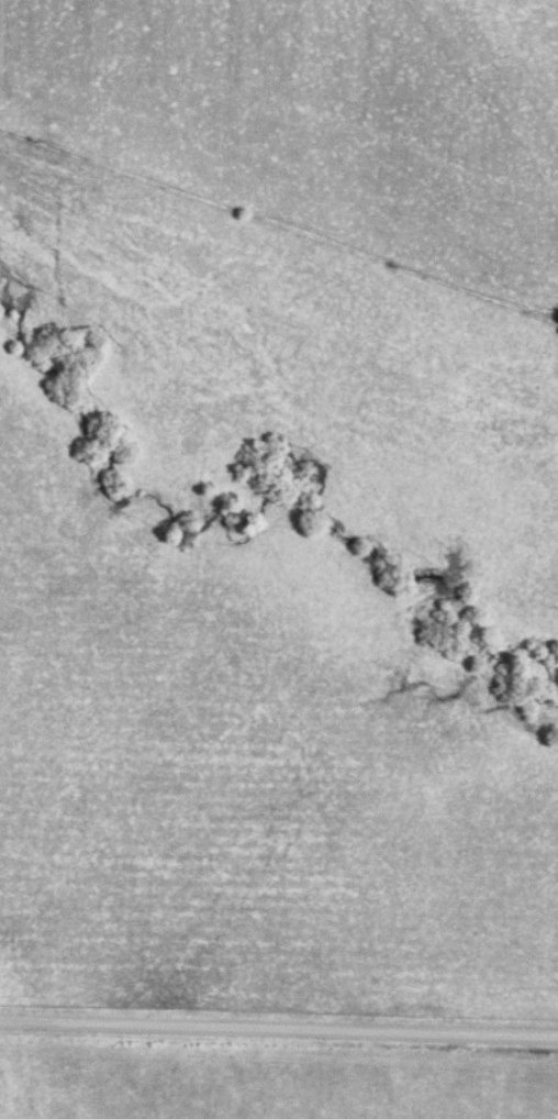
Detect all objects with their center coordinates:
road: (278, 1030)

